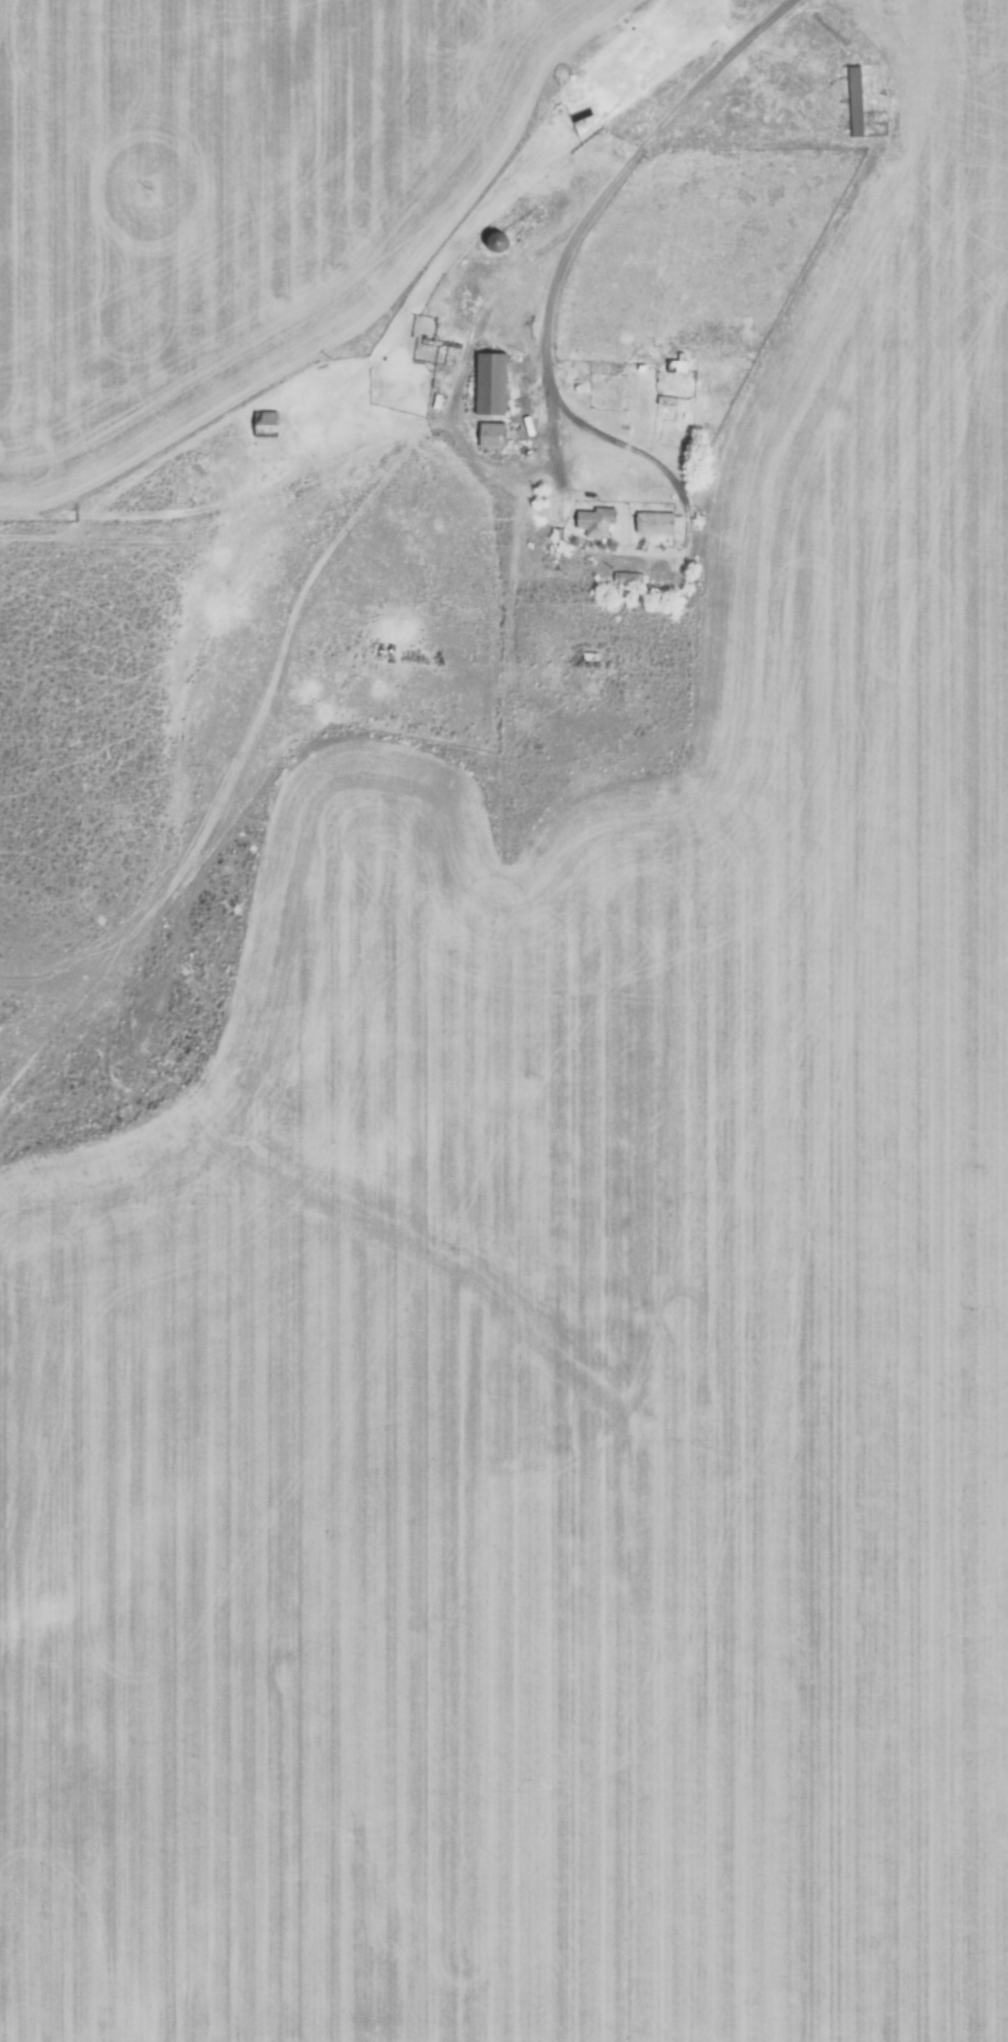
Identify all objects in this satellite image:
building: (852, 100)
building: (493, 238)
silo: (493, 238)
road: (569, 245)
building: (675, 365)
building: (488, 382)
road: (457, 394)
building: (434, 399)
building: (262, 421)
building: (489, 433)
road: (232, 496)
building: (596, 519)
building: (654, 521)
building: (625, 576)
building: (587, 659)
silo: (587, 659)

